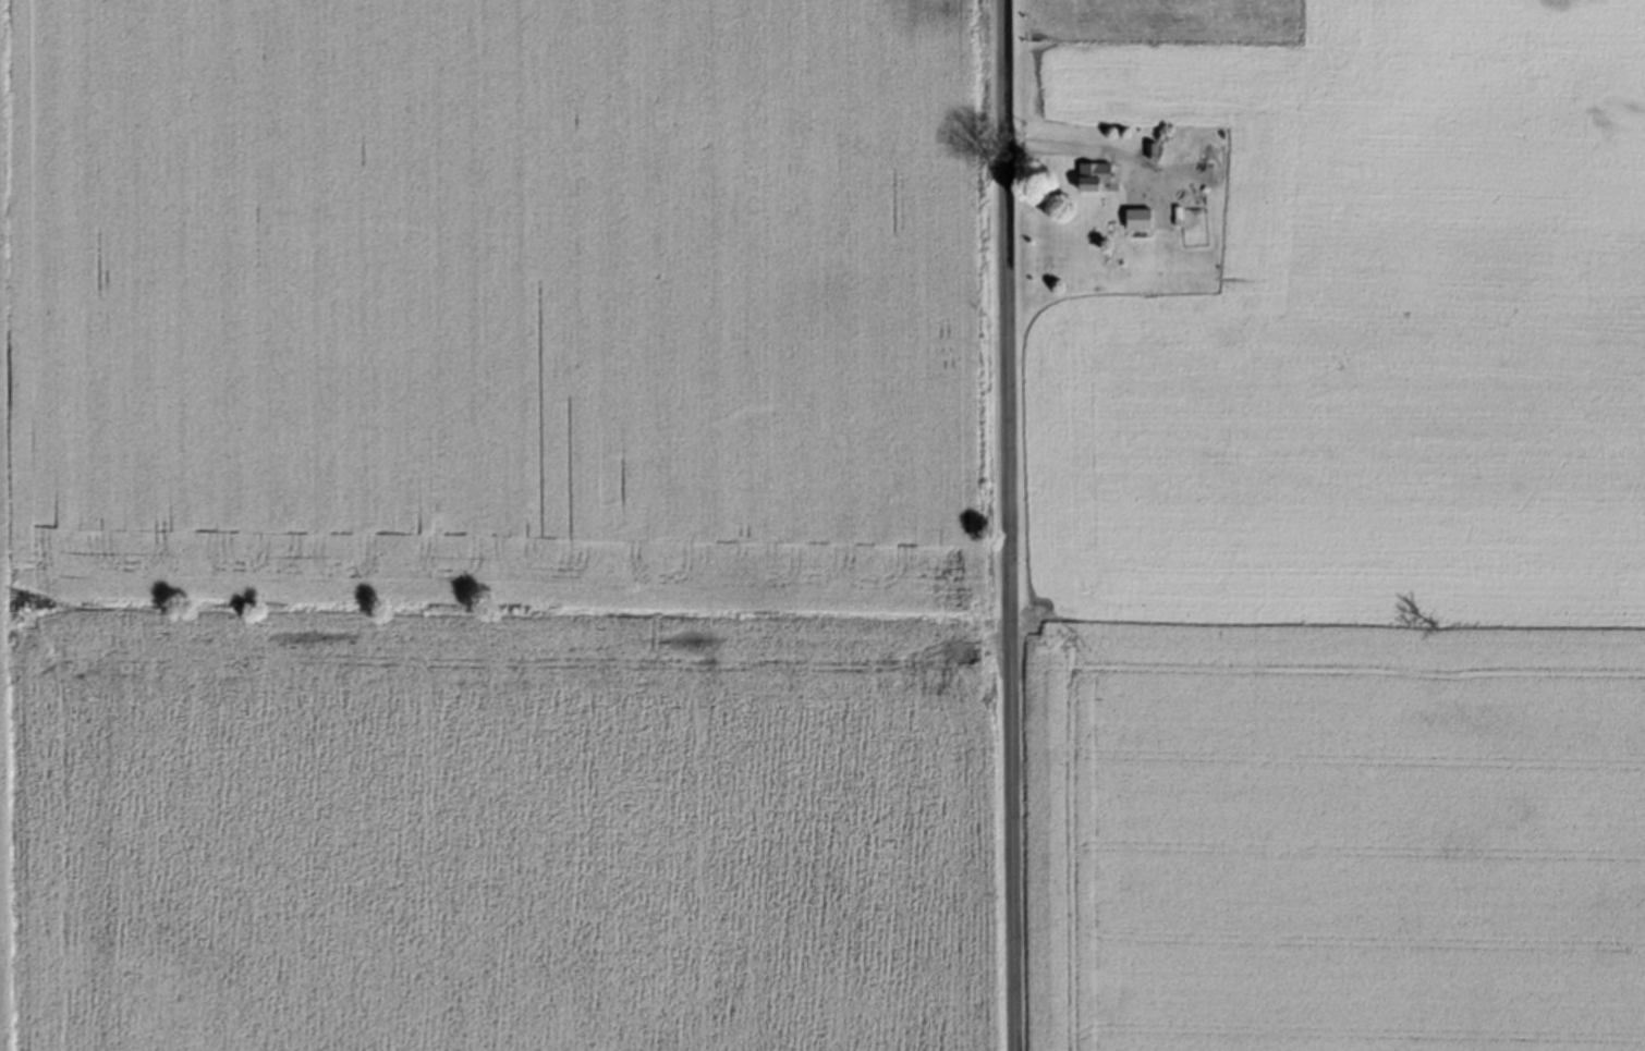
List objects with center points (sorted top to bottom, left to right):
road: (1084, 148)
building: (1098, 176)
building: (1144, 222)
road: (1010, 525)

